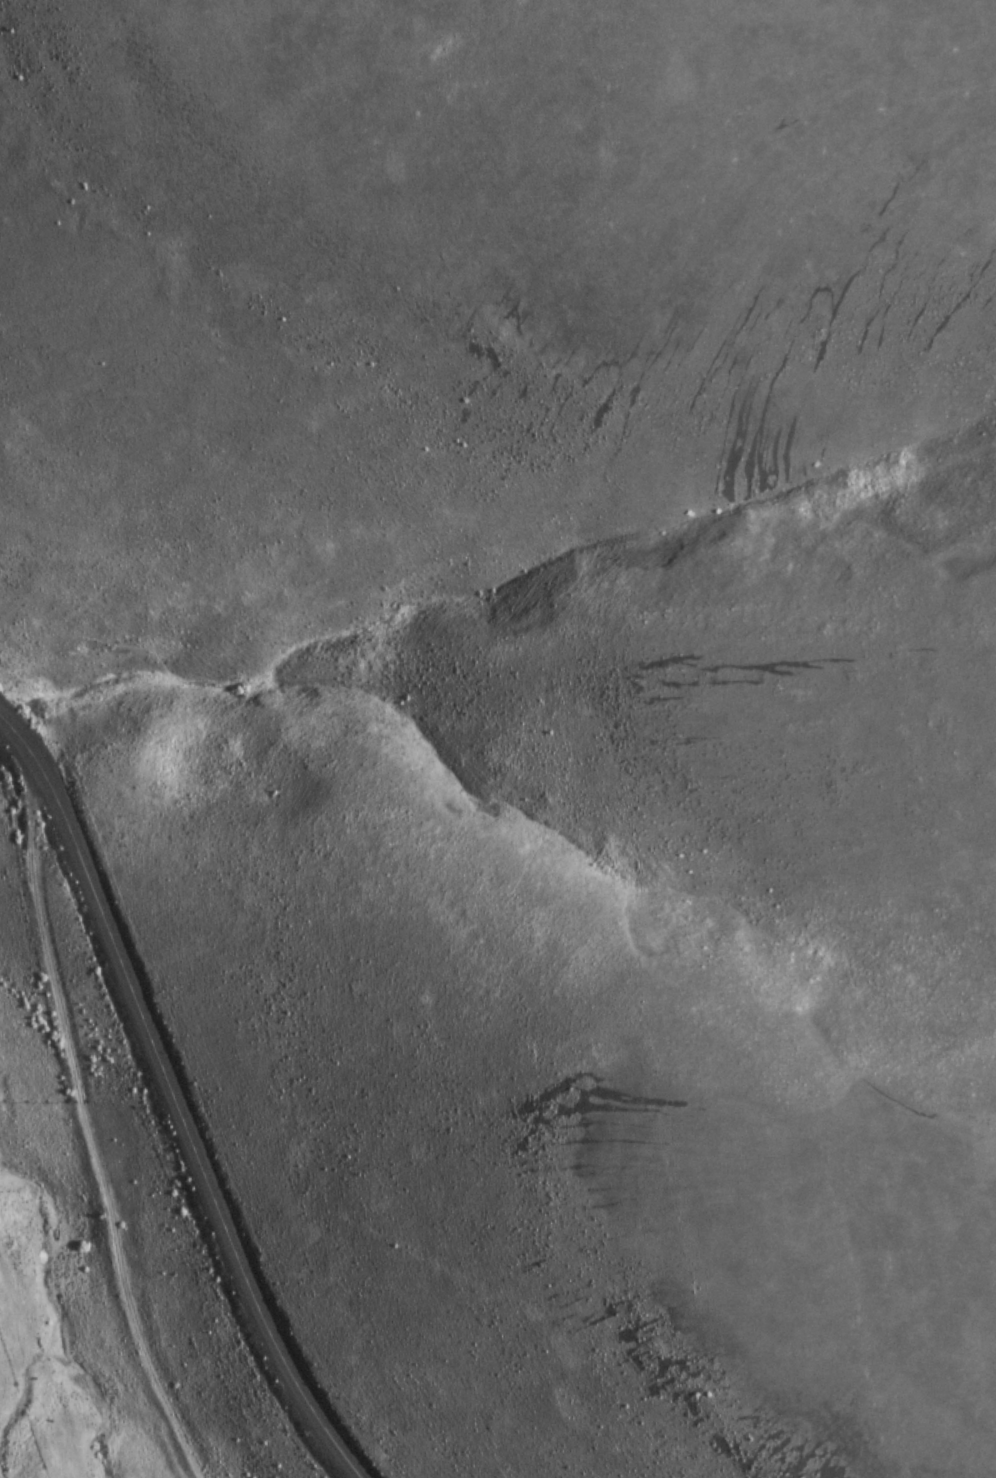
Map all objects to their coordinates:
road: (171, 1100)
road: (84, 1130)

